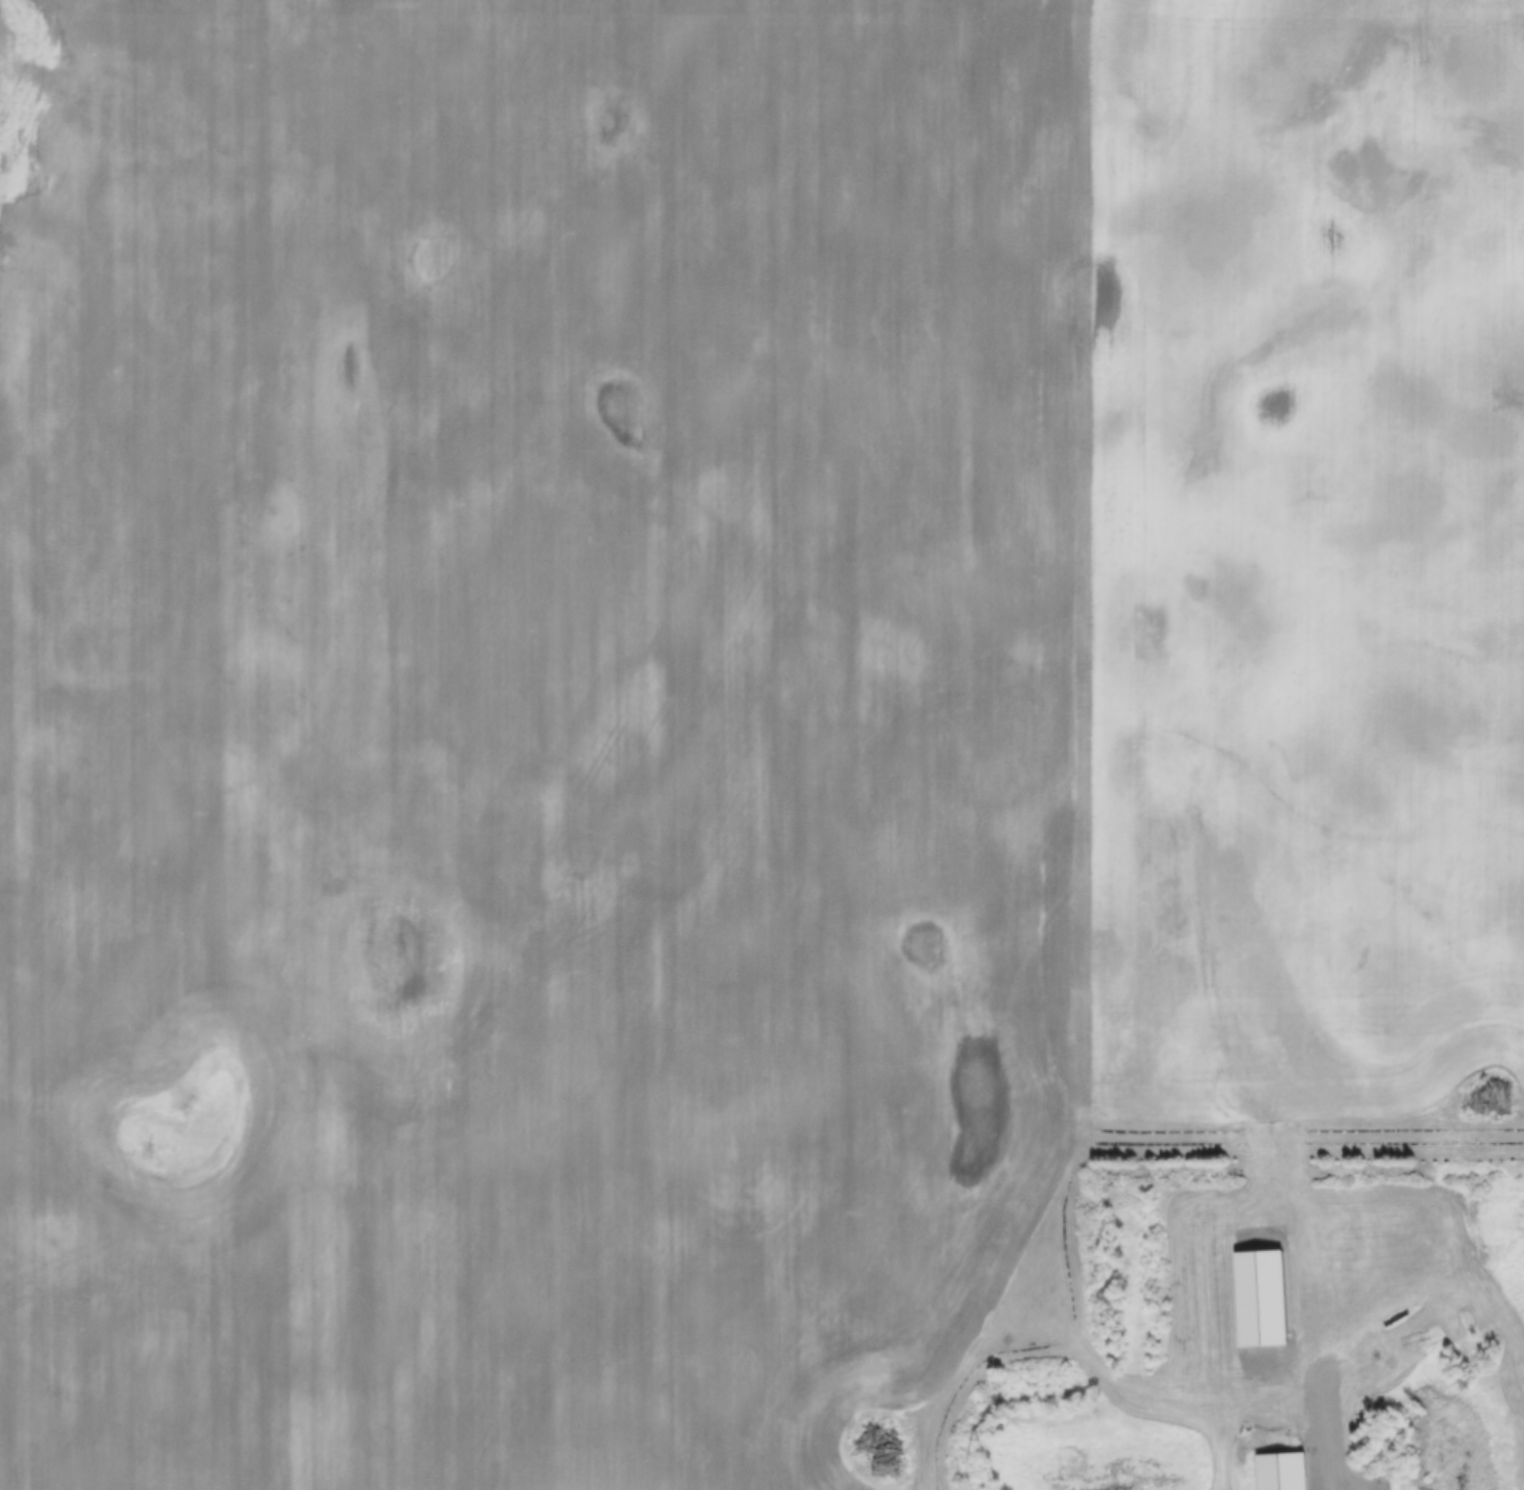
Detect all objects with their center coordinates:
road: (1429, 1286)
building: (1258, 1291)
road: (1288, 1403)
road: (1334, 1428)
building: (1282, 1473)

